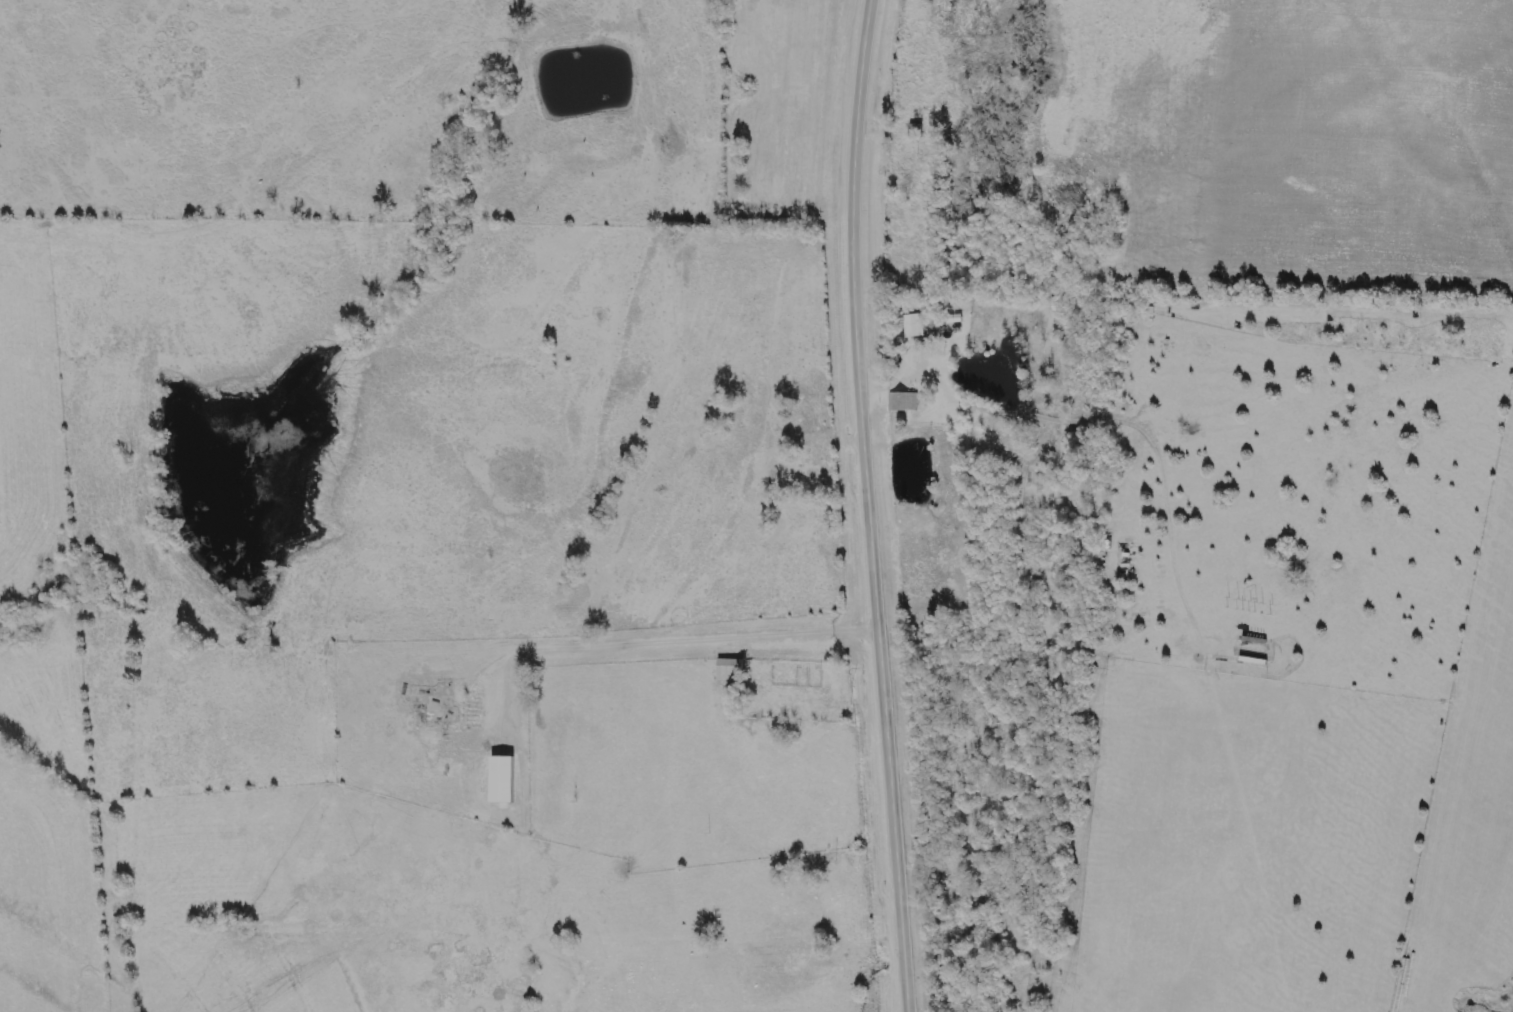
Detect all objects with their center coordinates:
building: (905, 173)
building: (918, 325)
building: (904, 401)
road: (871, 506)
road: (659, 640)
building: (730, 671)
building: (504, 780)

